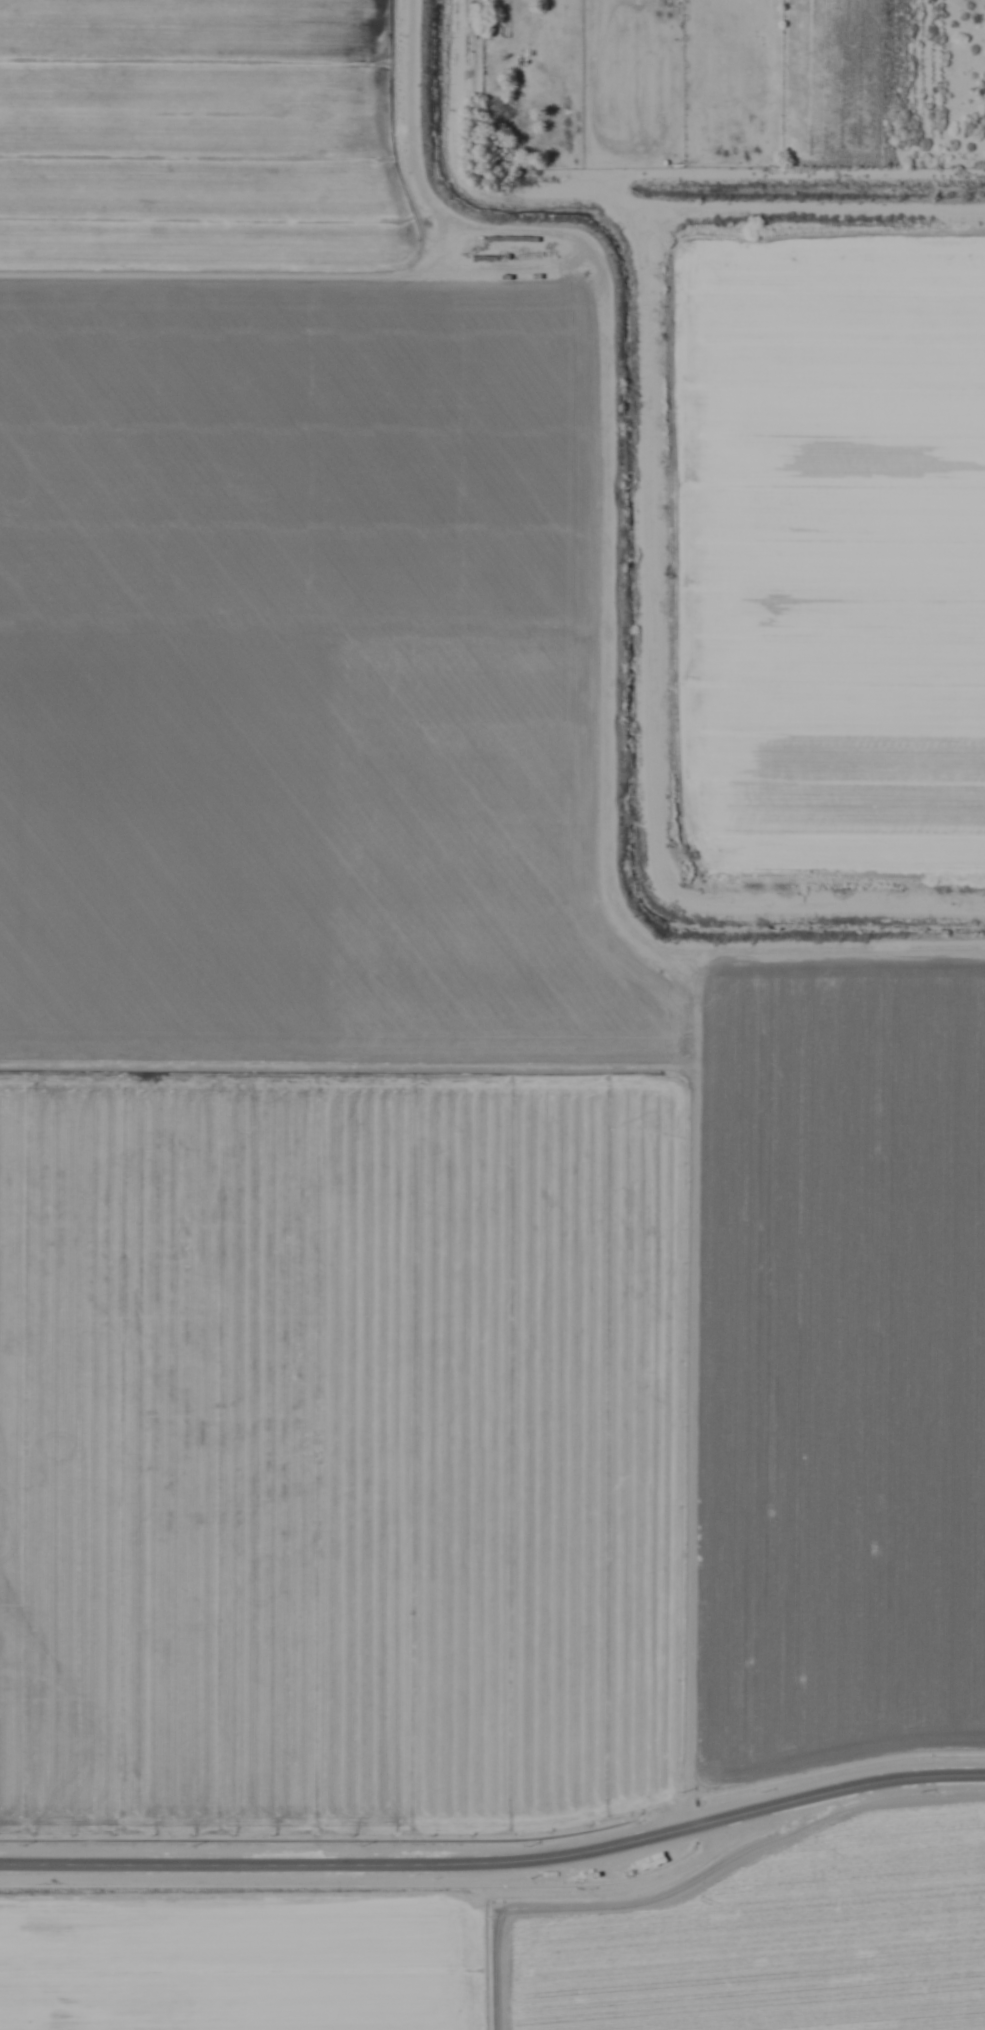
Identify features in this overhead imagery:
road: (496, 1854)

